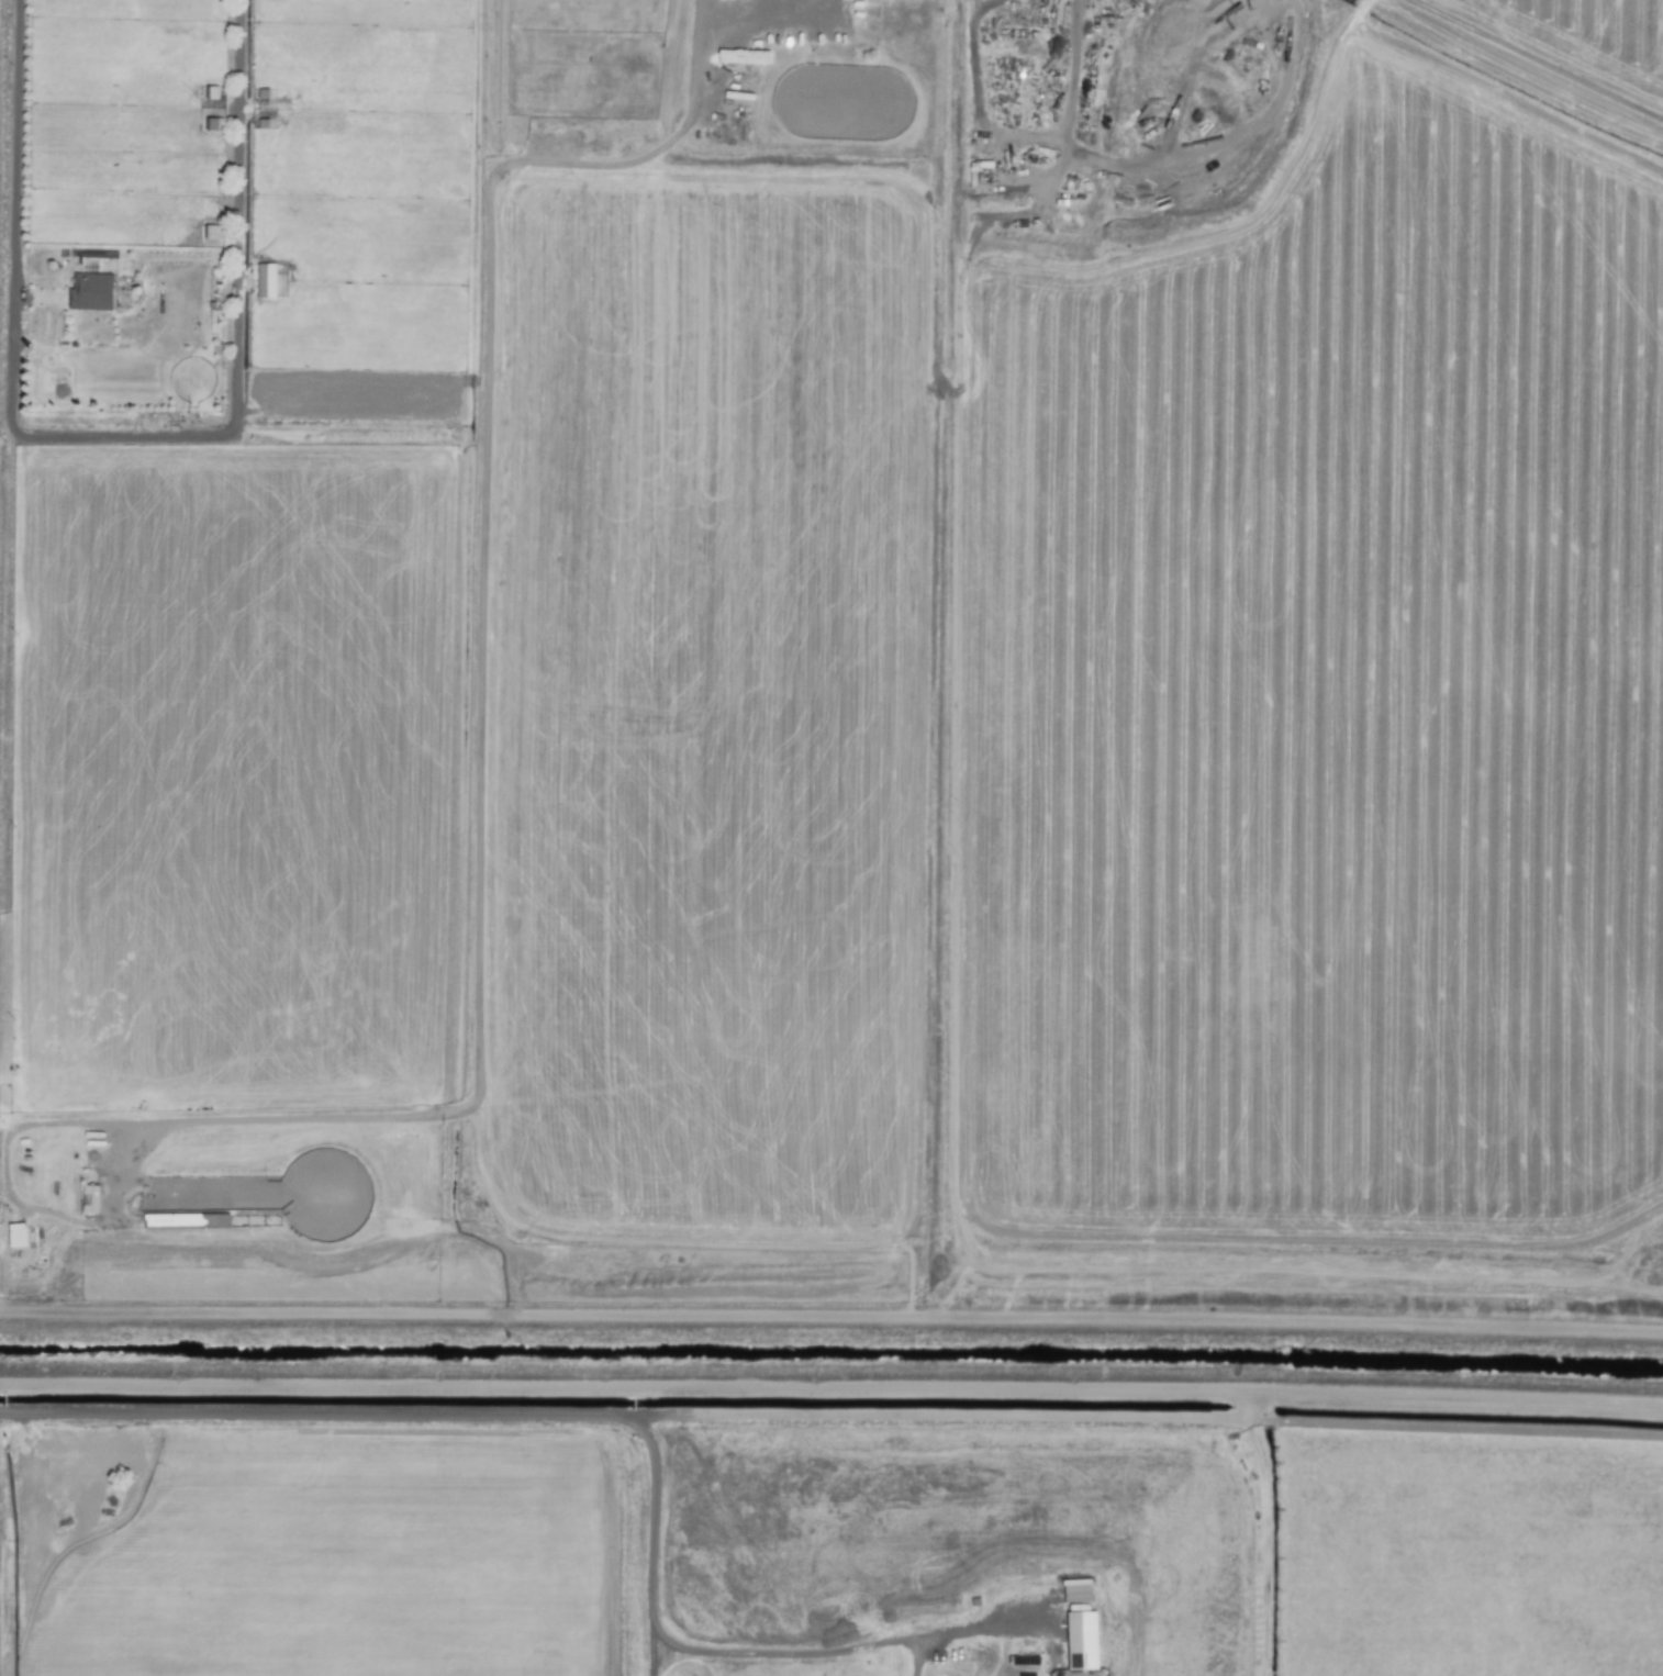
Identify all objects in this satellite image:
road: (752, 21)
road: (1539, 55)
building: (214, 124)
building: (265, 280)
building: (89, 292)
road: (234, 322)
road: (8, 513)
building: (16, 1234)
road: (16, 1242)
road: (831, 1314)
road: (831, 1398)
road: (305, 1411)
building: (1078, 1640)
road: (643, 1645)
road: (728, 1650)
road: (655, 1653)
road: (641, 1671)

